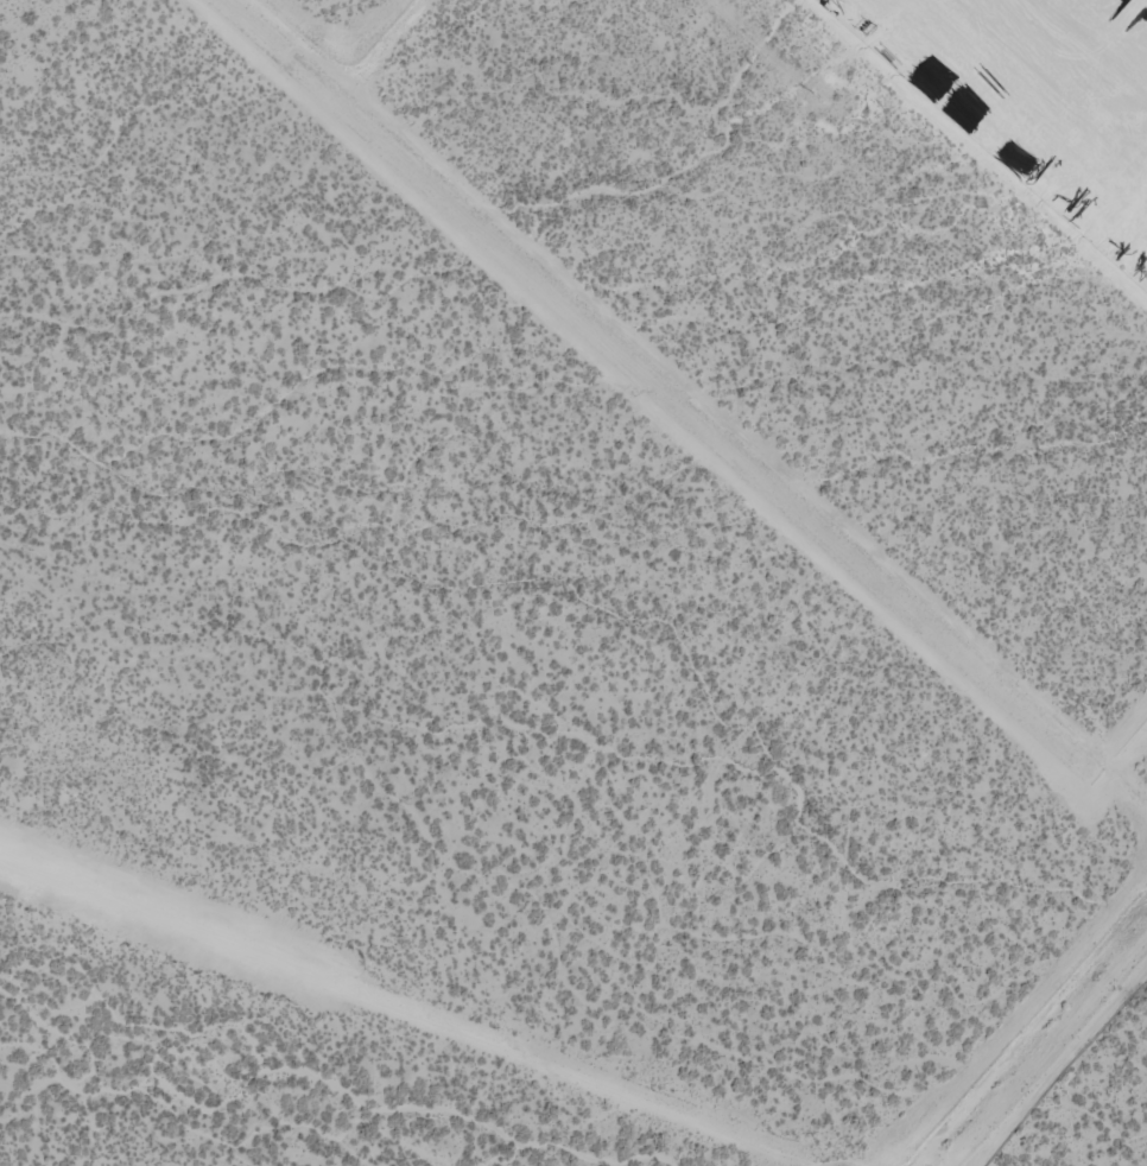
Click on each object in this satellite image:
road: (1091, 45)

